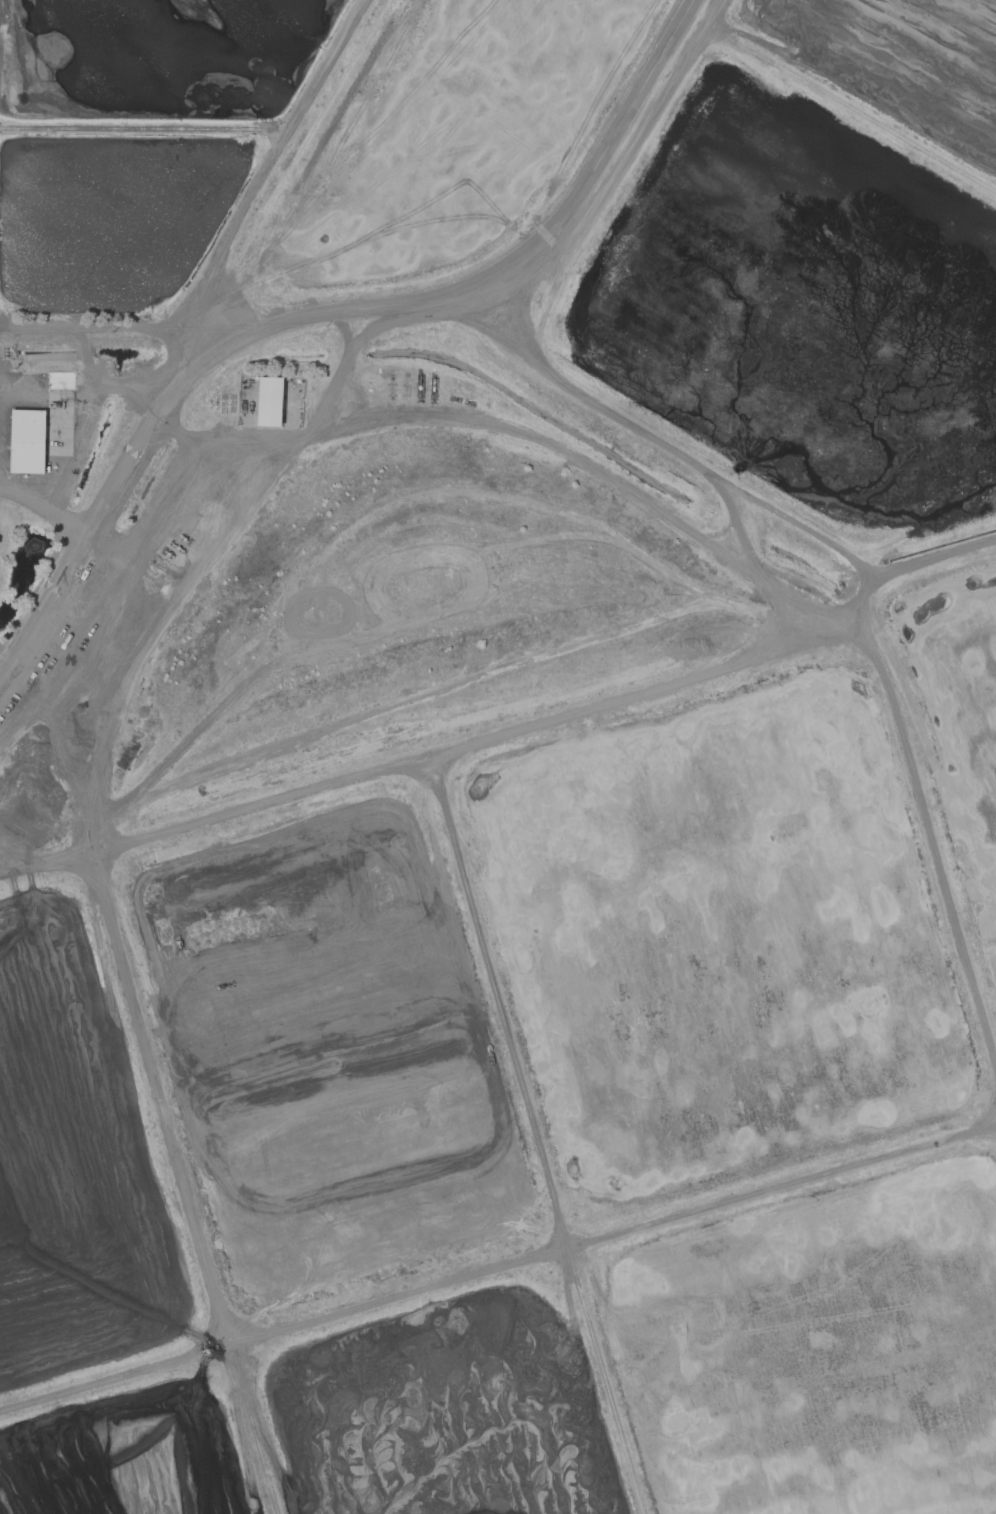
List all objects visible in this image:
road: (144, 129)
road: (267, 165)
road: (333, 313)
road: (110, 325)
building: (56, 381)
building: (271, 401)
building: (28, 441)
road: (43, 506)

